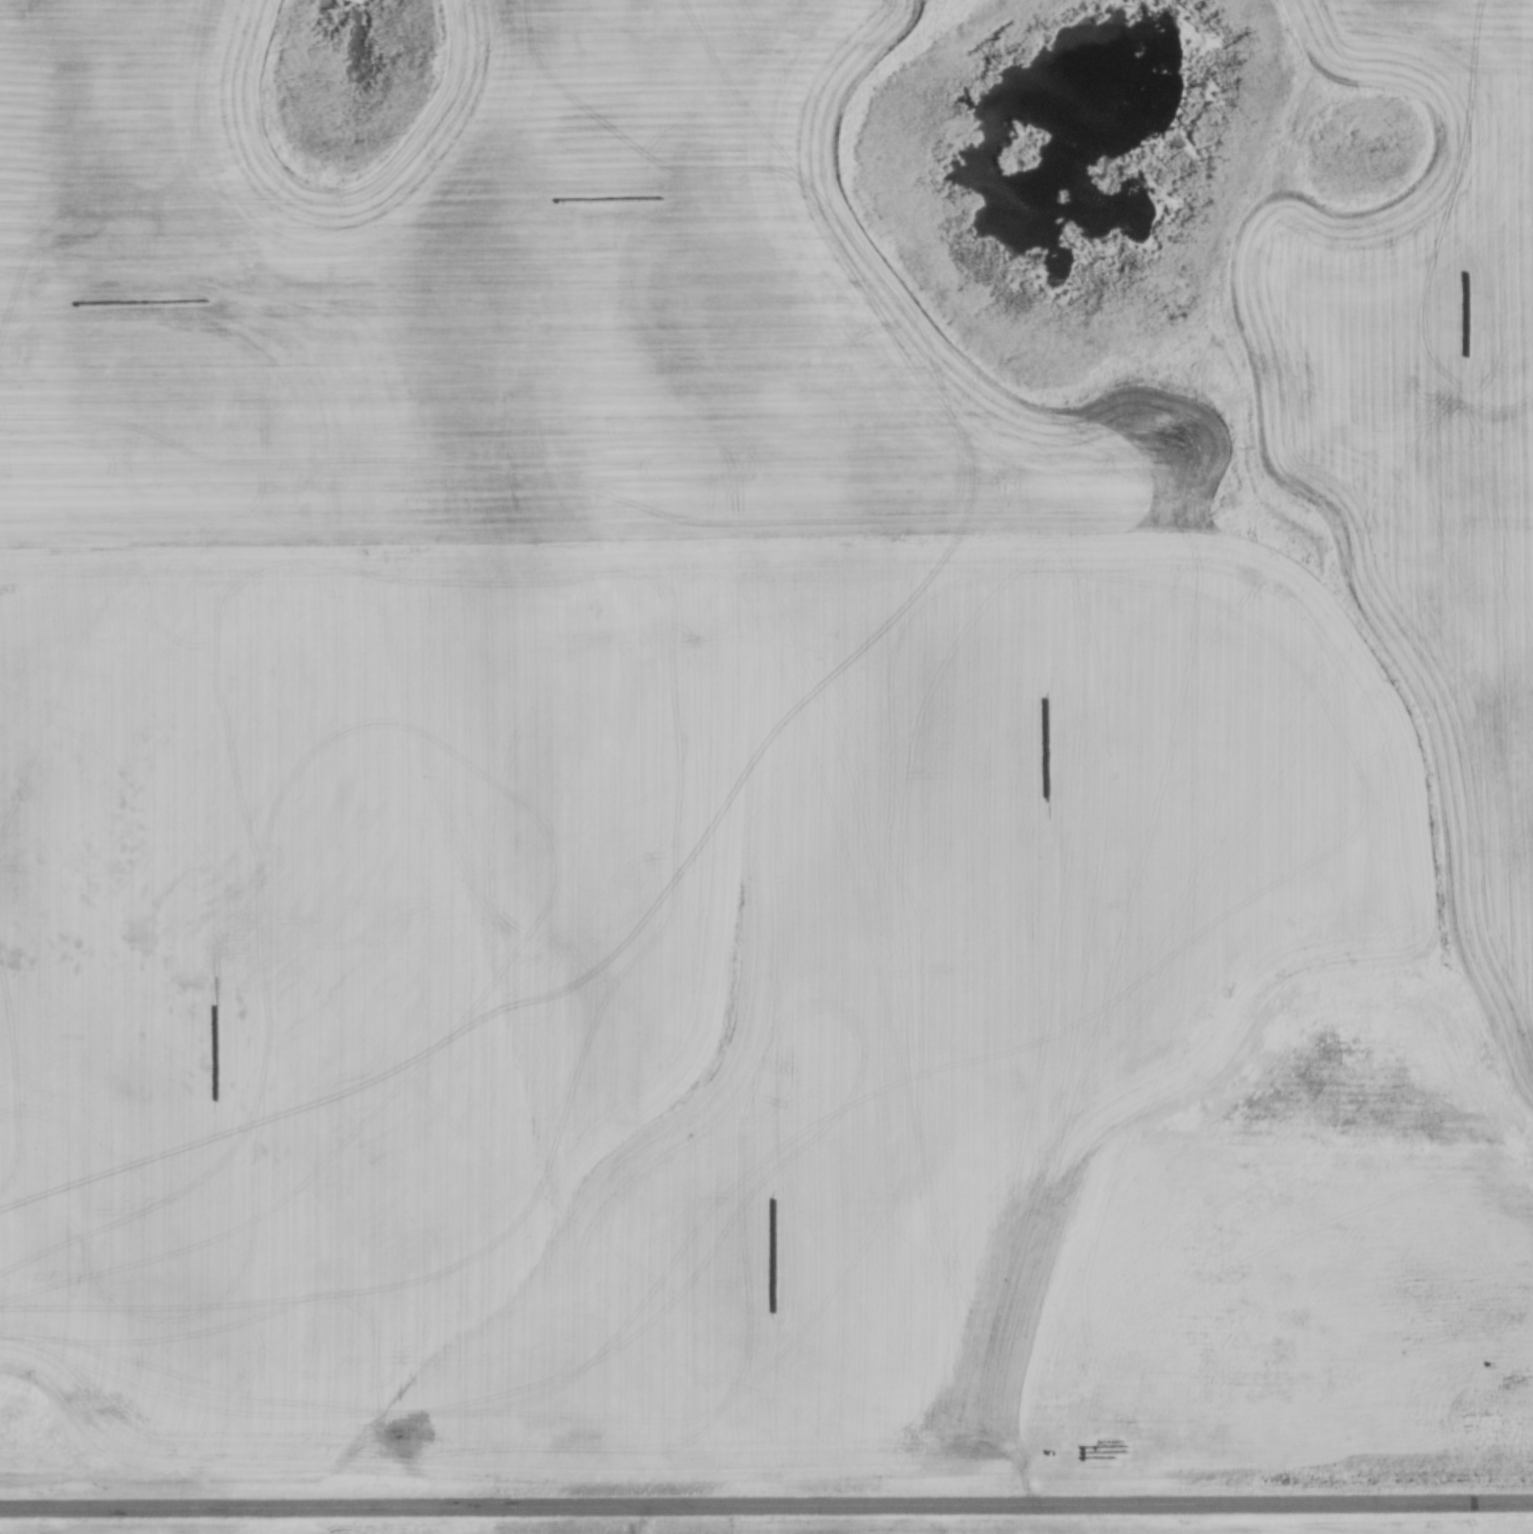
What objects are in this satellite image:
building: (807, 1350)
road: (766, 1502)

